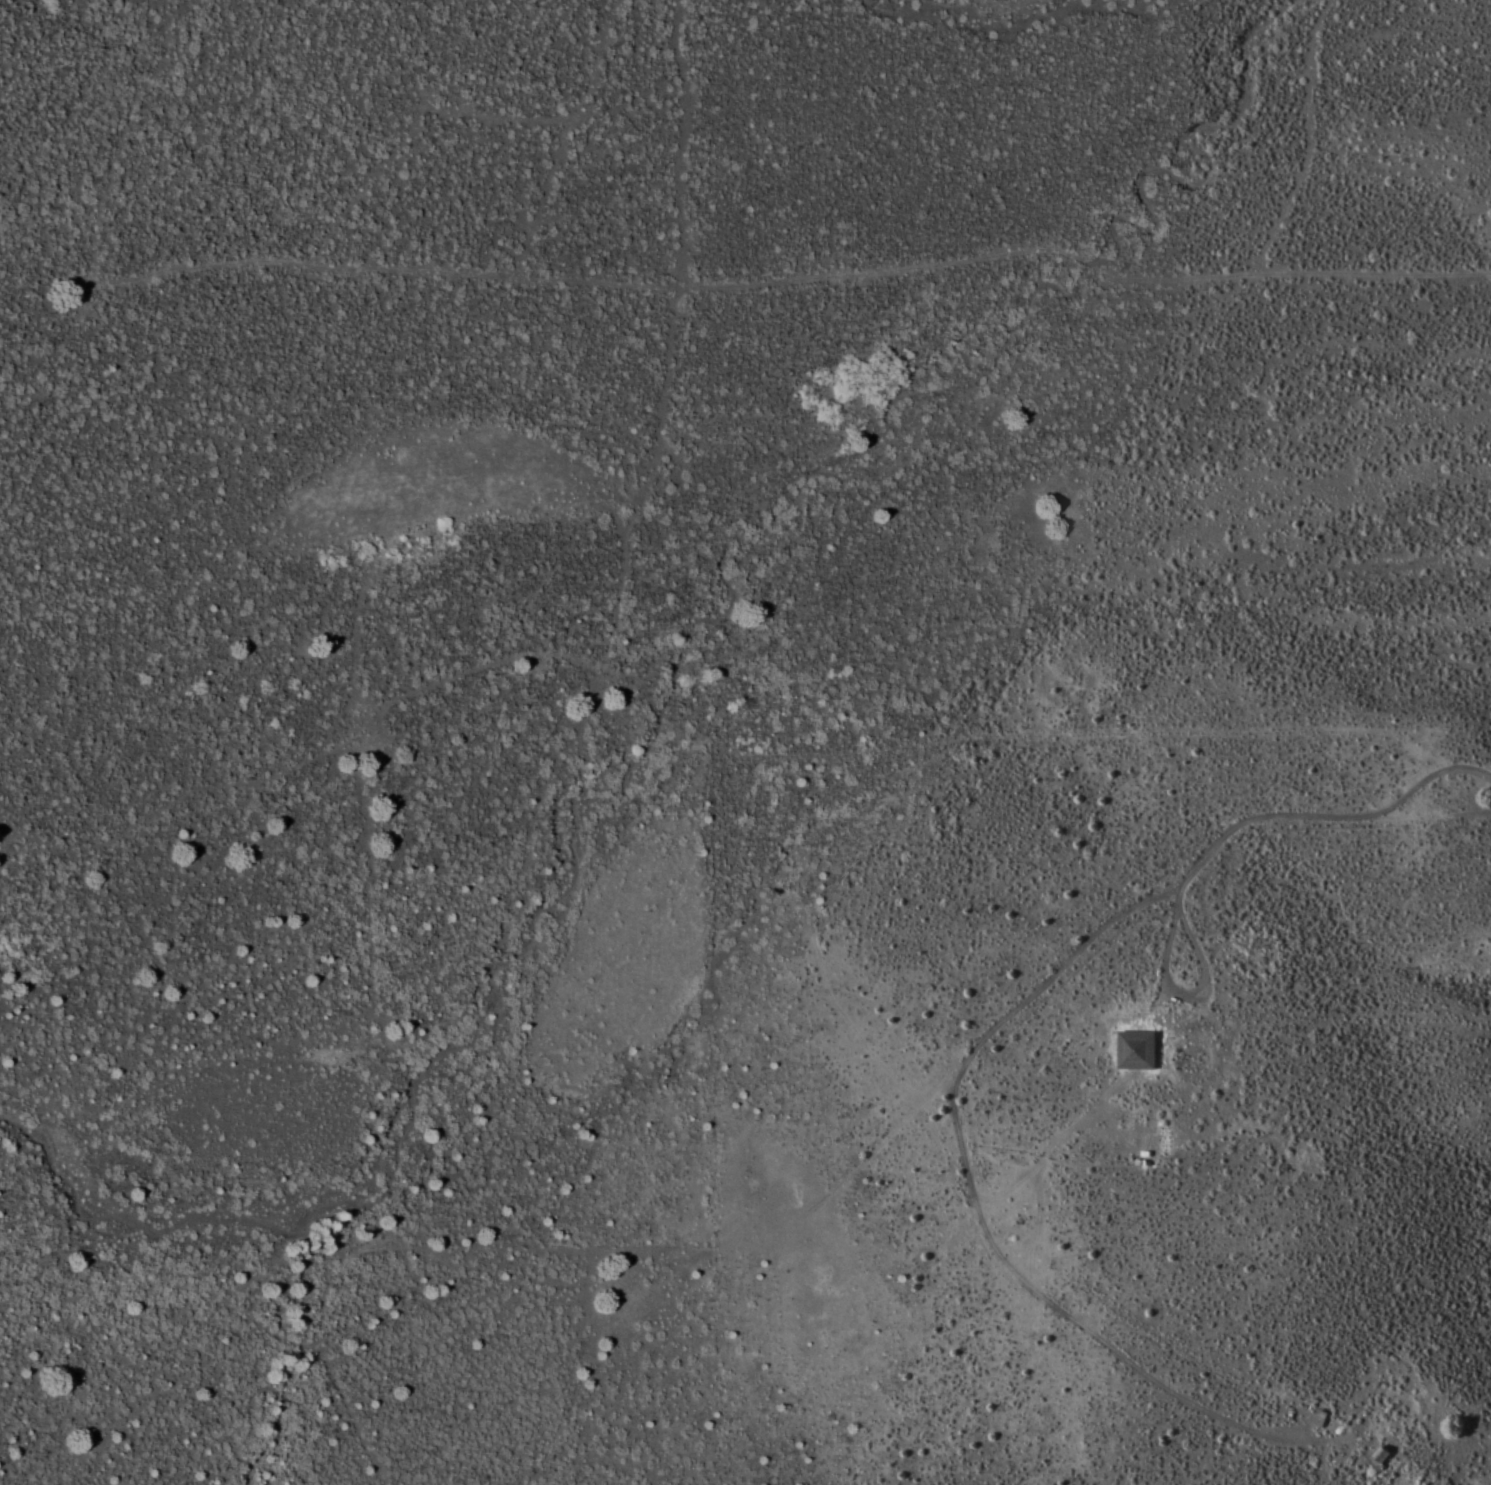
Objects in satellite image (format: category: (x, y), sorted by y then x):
road: (231, 1307)

